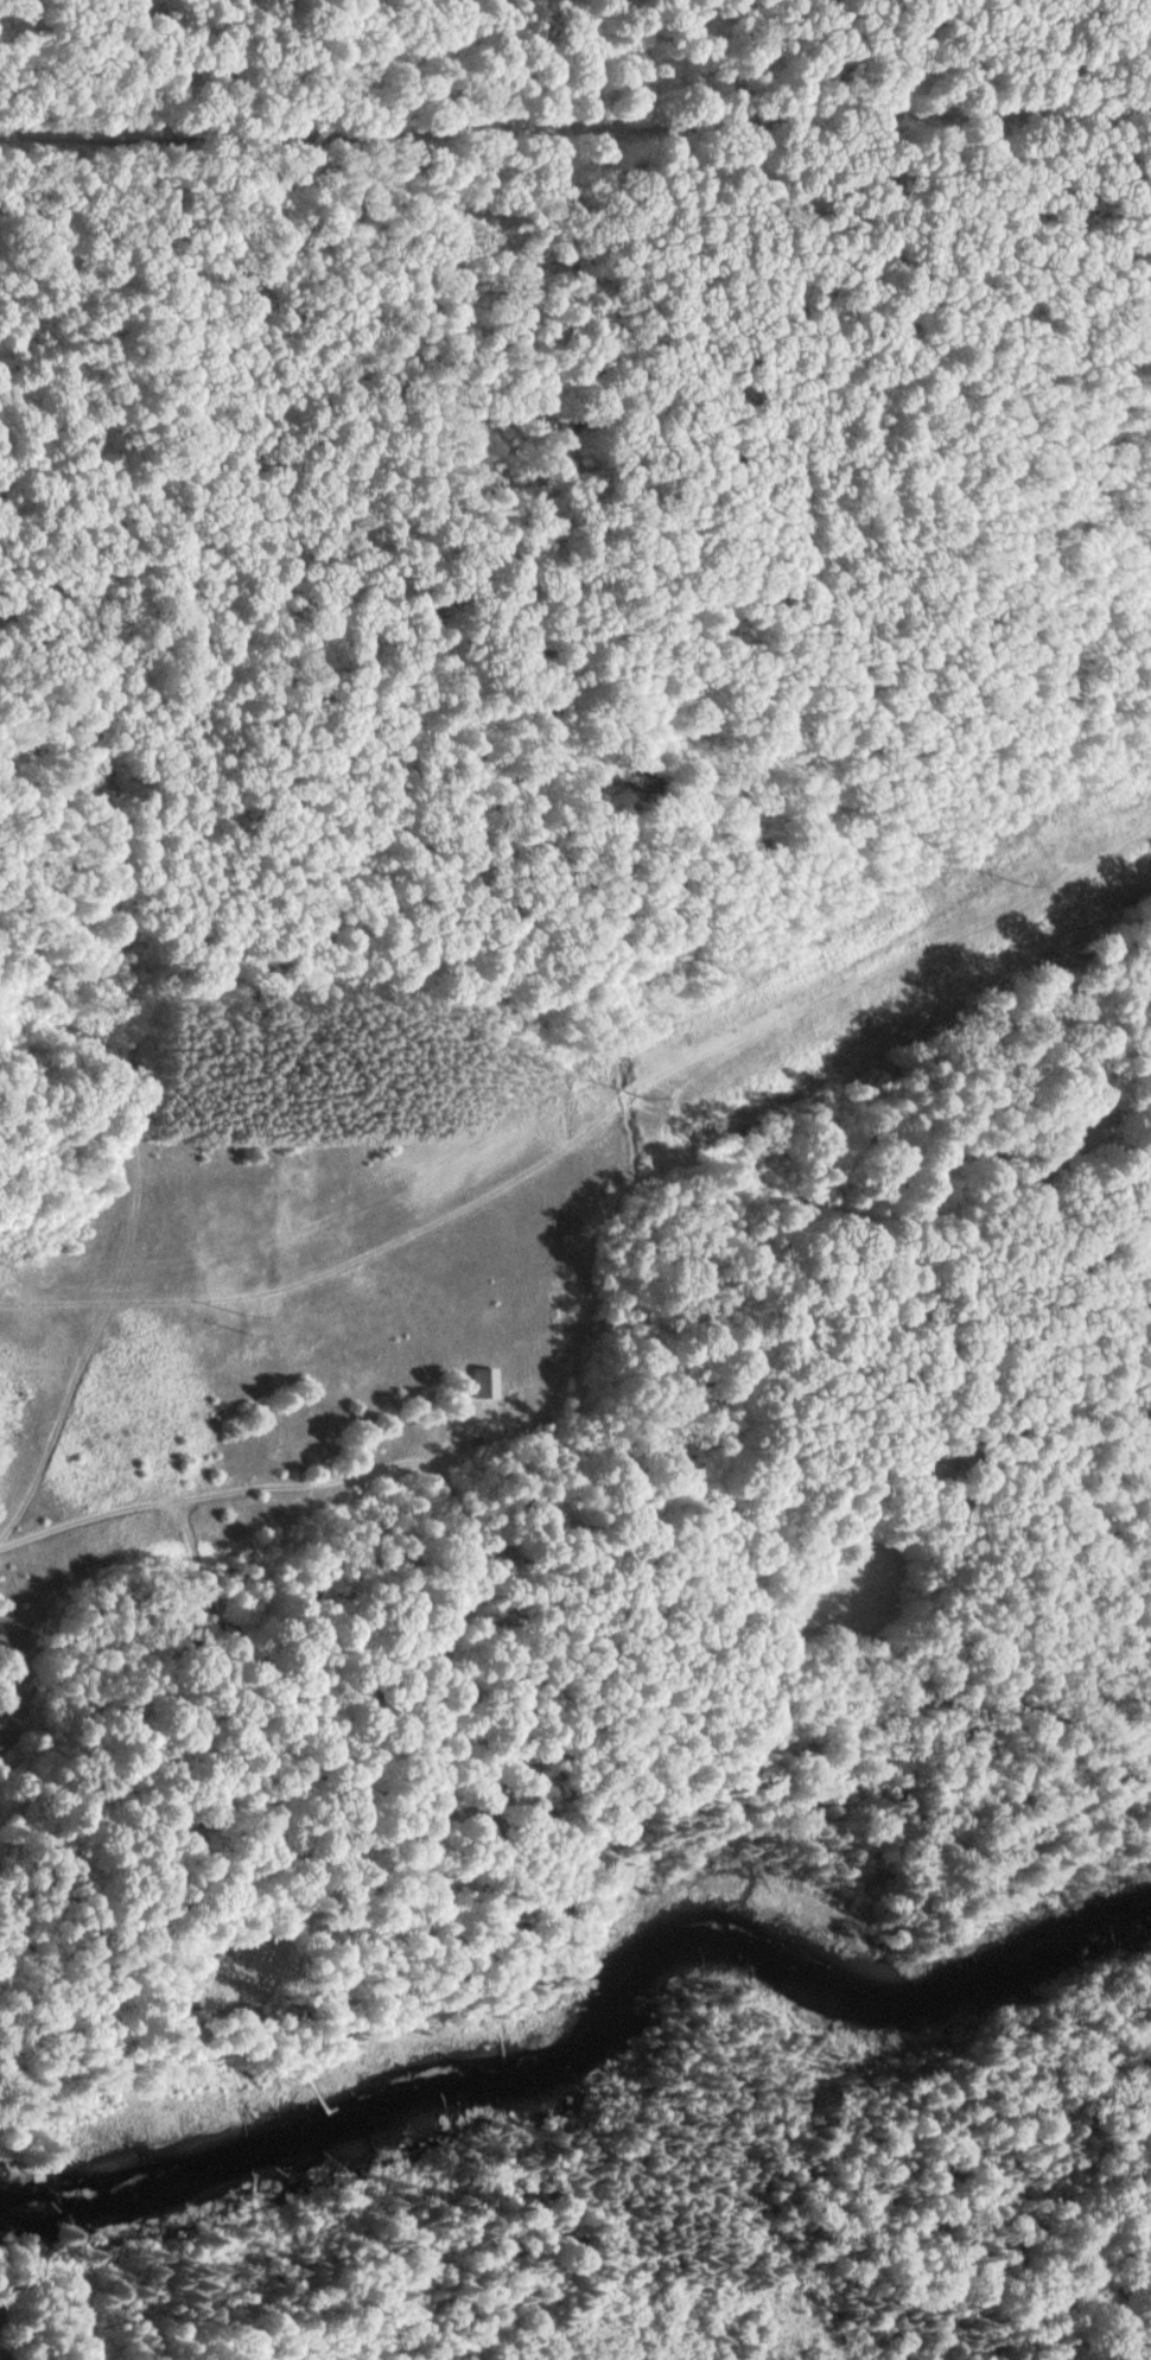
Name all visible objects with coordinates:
road: (602, 1402)
building: (520, 1770)
river: (589, 2012)
building: (4, 2355)

